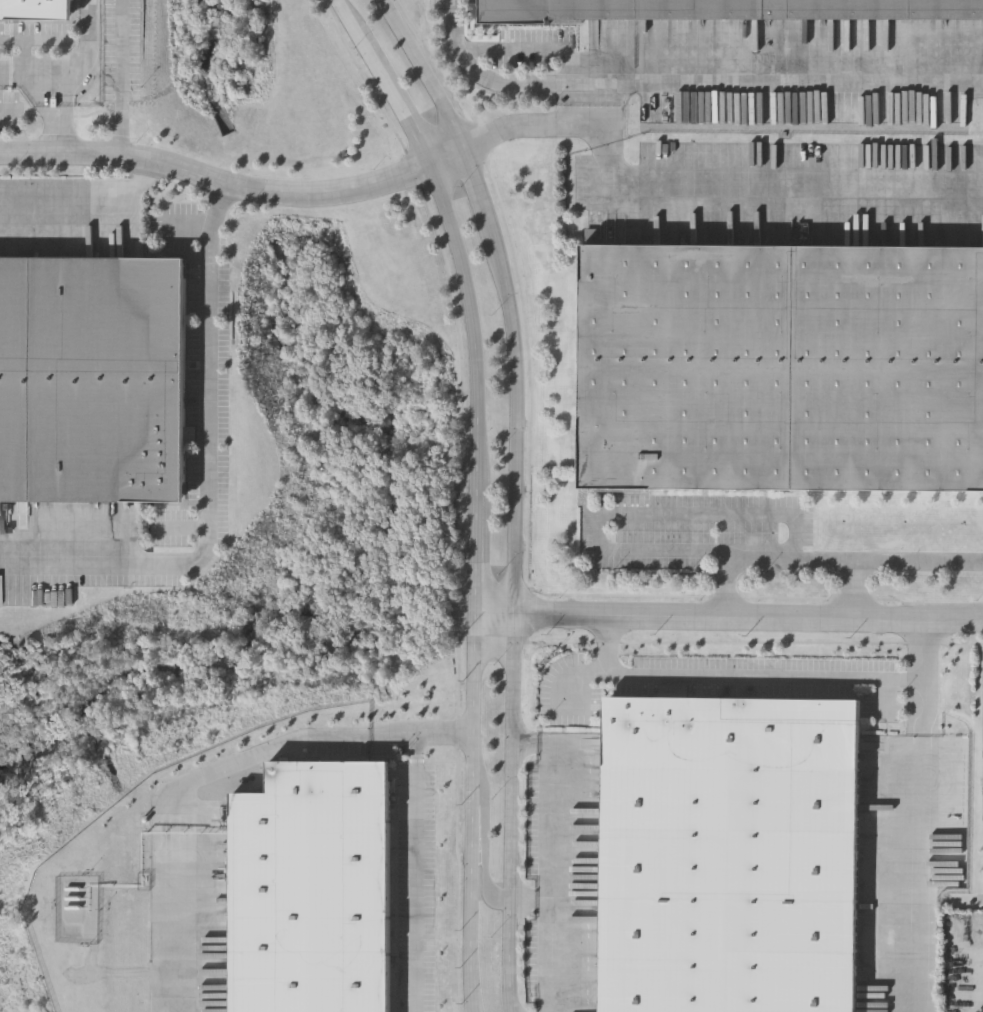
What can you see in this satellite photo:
building: (37, 8)
building: (730, 9)
road: (346, 16)
road: (78, 70)
road: (433, 74)
road: (124, 80)
road: (688, 85)
road: (398, 99)
road: (7, 110)
road: (64, 112)
road: (695, 178)
road: (237, 188)
road: (88, 204)
road: (457, 239)
building: (782, 365)
road: (523, 379)
building: (94, 381)
road: (480, 404)
road: (210, 474)
road: (634, 515)
road: (478, 554)
road: (887, 556)
road: (730, 619)
road: (924, 654)
road: (902, 682)
road: (472, 812)
road: (514, 813)
road: (484, 839)
road: (414, 845)
building: (727, 853)
road: (559, 860)
building: (312, 888)
road: (976, 898)
road: (535, 902)

